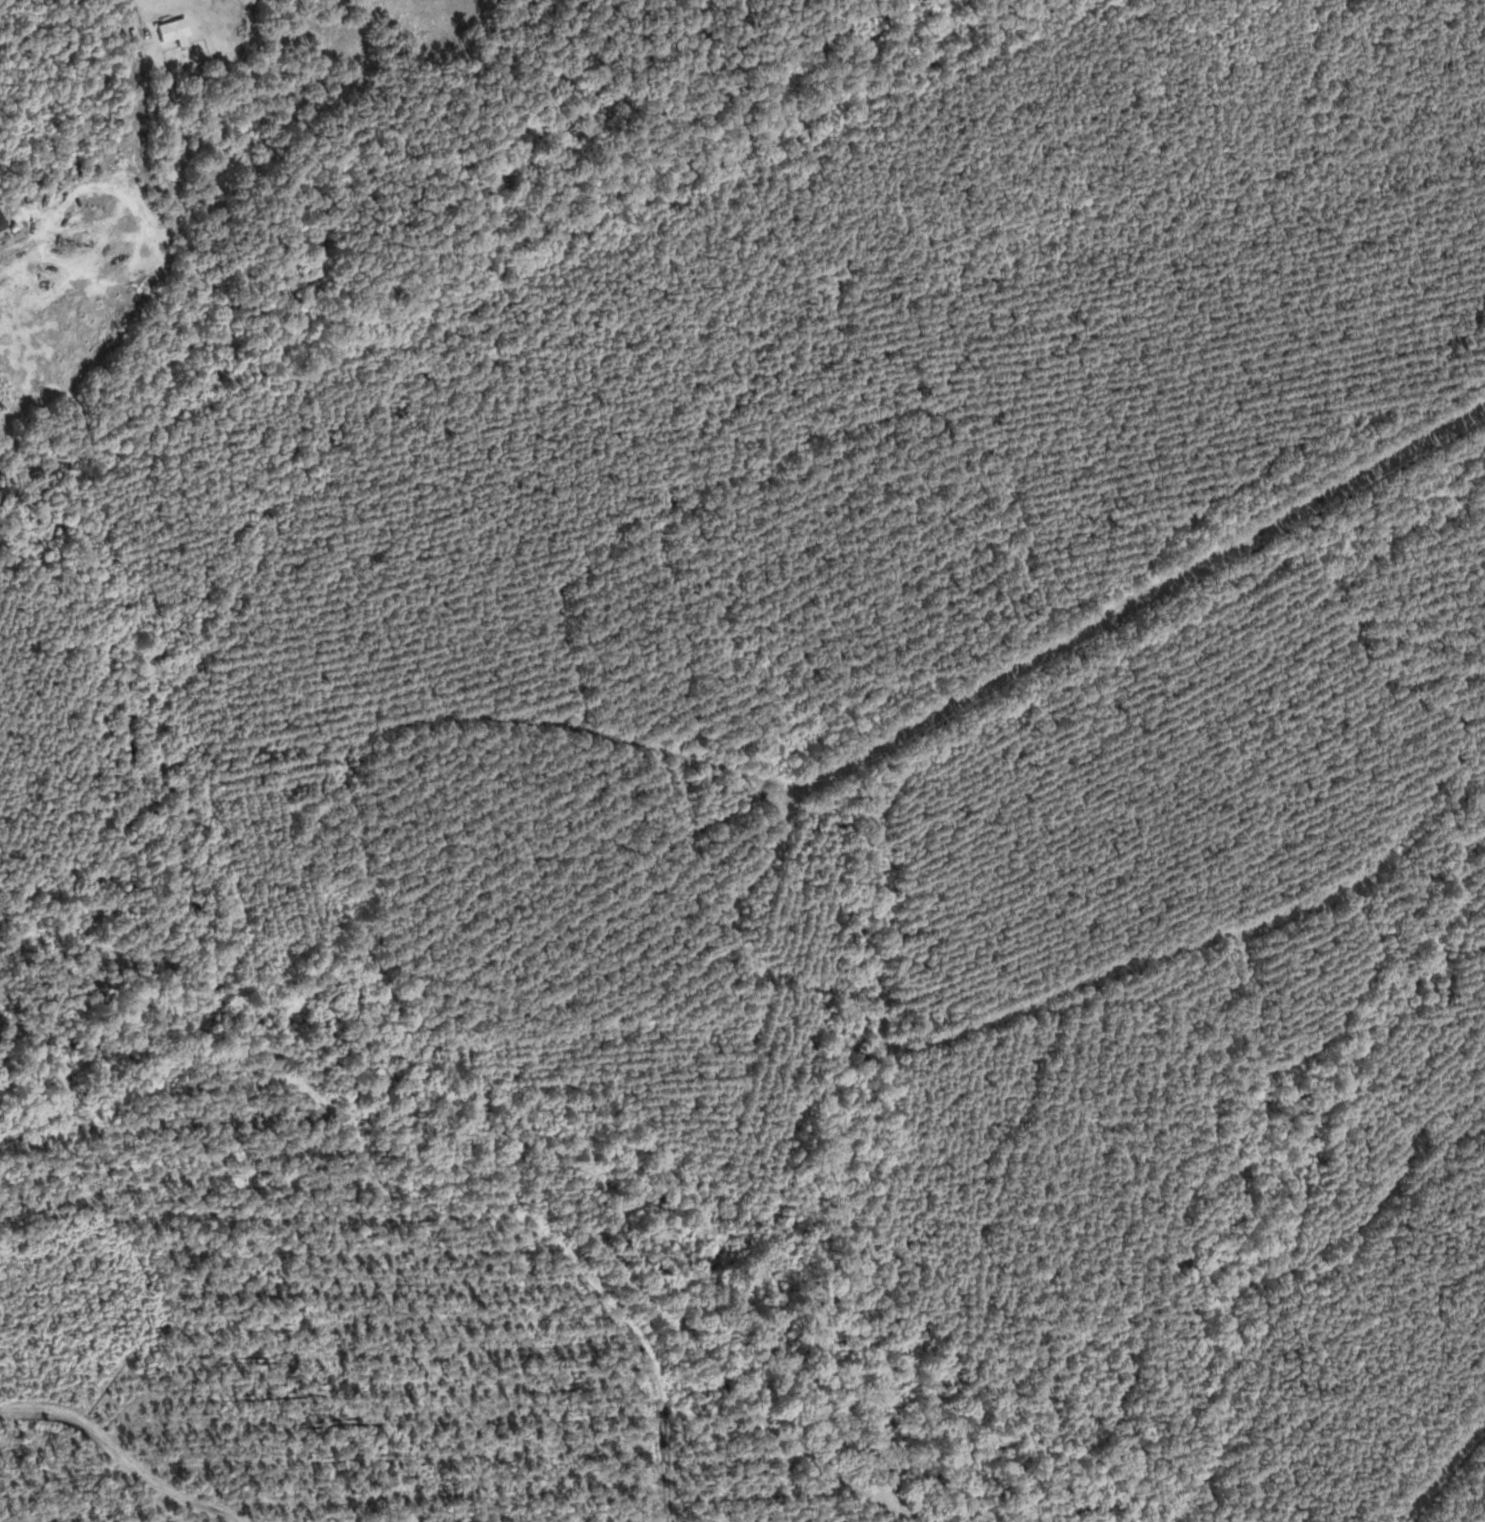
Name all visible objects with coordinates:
building: (171, 28)
building: (1, 223)

